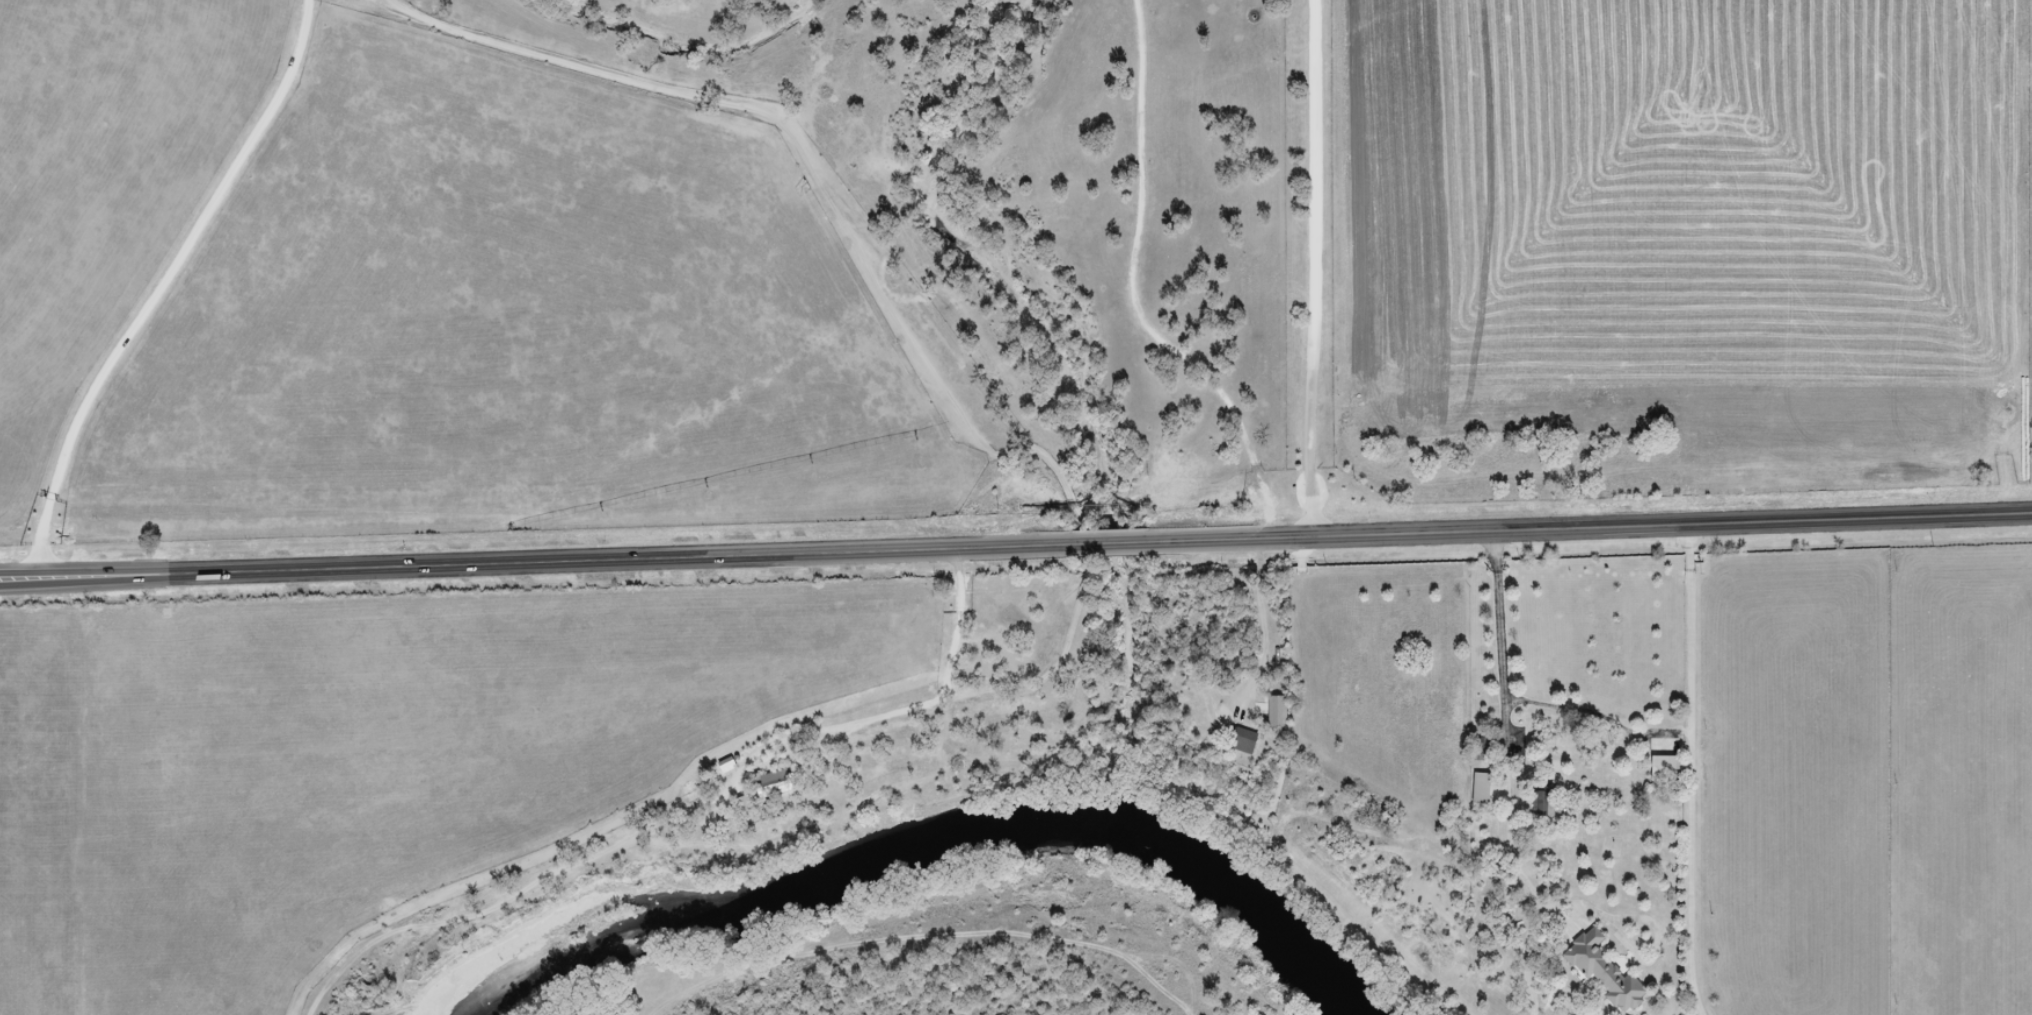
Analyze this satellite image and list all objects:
road: (1308, 269)
road: (161, 284)
road: (1364, 535)
road: (347, 565)
building: (1279, 711)
road: (1506, 715)
building: (1243, 739)
building: (1486, 745)
building: (1668, 766)
building: (775, 783)
building: (1484, 788)
building: (1546, 802)
river: (965, 856)
building: (1606, 970)

